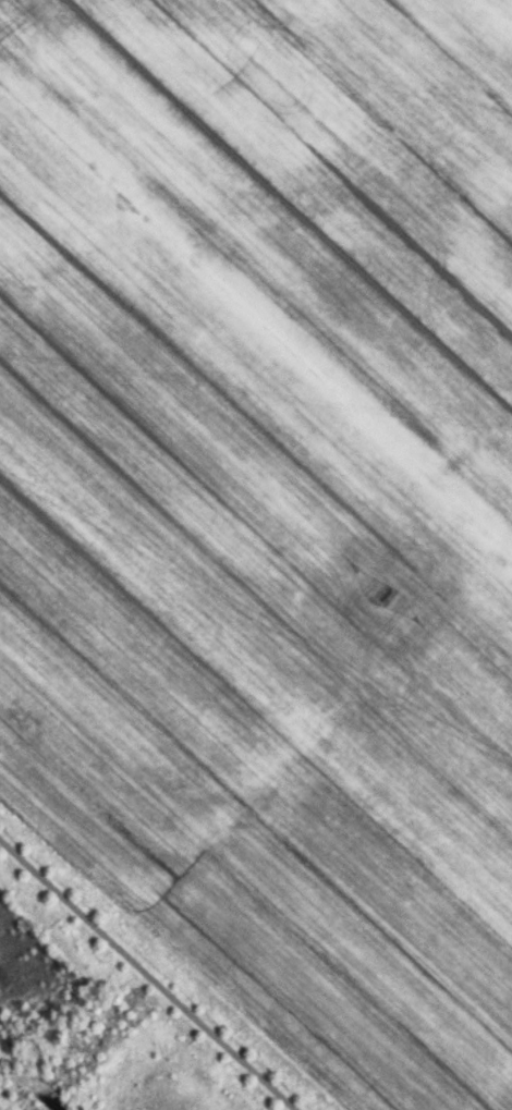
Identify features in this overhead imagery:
road: (145, 977)

